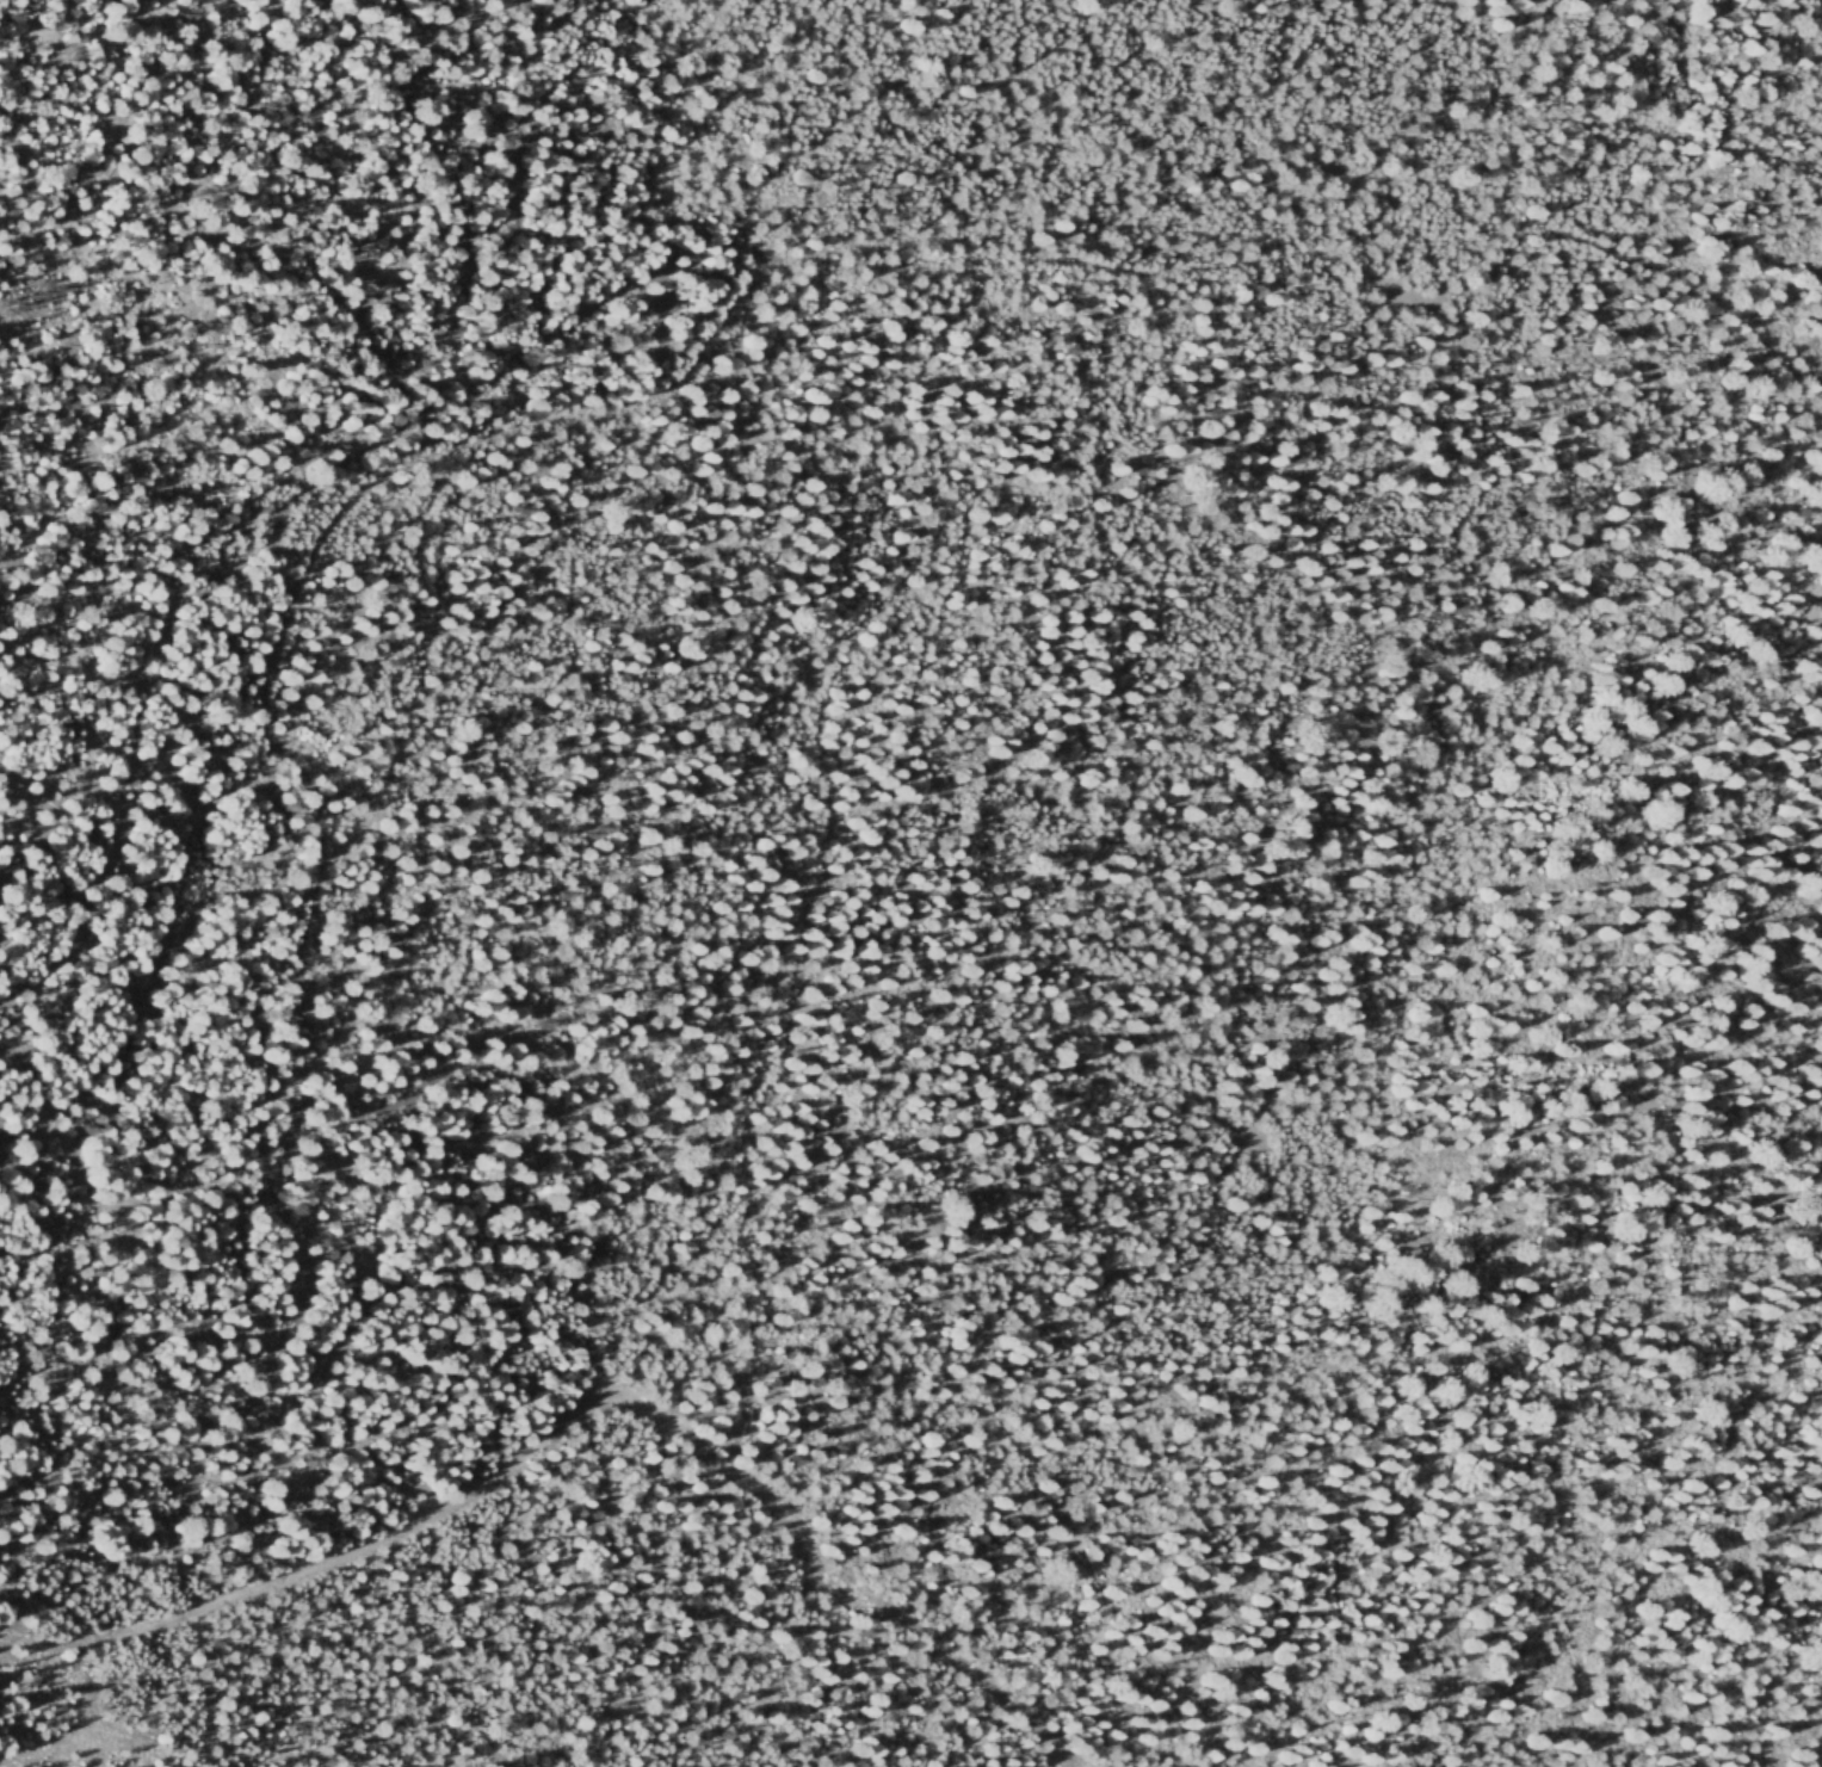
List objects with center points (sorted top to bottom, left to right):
road: (1044, 205)
road: (618, 206)
road: (762, 268)
road: (1318, 1114)
road: (617, 1417)

